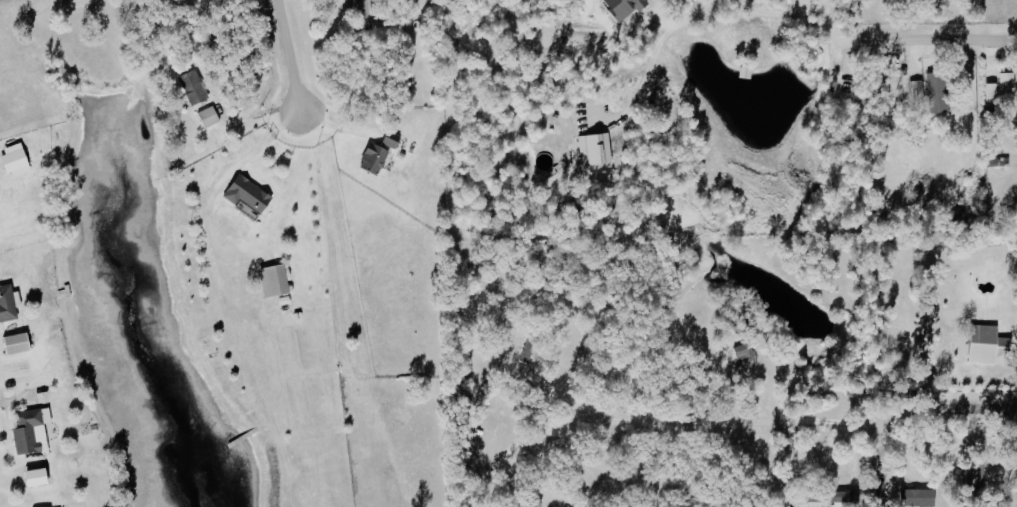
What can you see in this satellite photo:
road: (714, 7)
road: (937, 47)
road: (288, 58)
building: (1005, 81)
building: (191, 88)
building: (989, 92)
building: (935, 93)
building: (207, 118)
building: (387, 141)
building: (592, 150)
building: (372, 160)
building: (13, 161)
building: (543, 162)
road: (233, 169)
building: (244, 197)
building: (271, 281)
building: (6, 304)
building: (983, 343)
building: (13, 344)
road: (951, 412)
road: (688, 426)
building: (28, 430)
building: (879, 491)
building: (845, 497)
building: (915, 497)
building: (563, 506)

